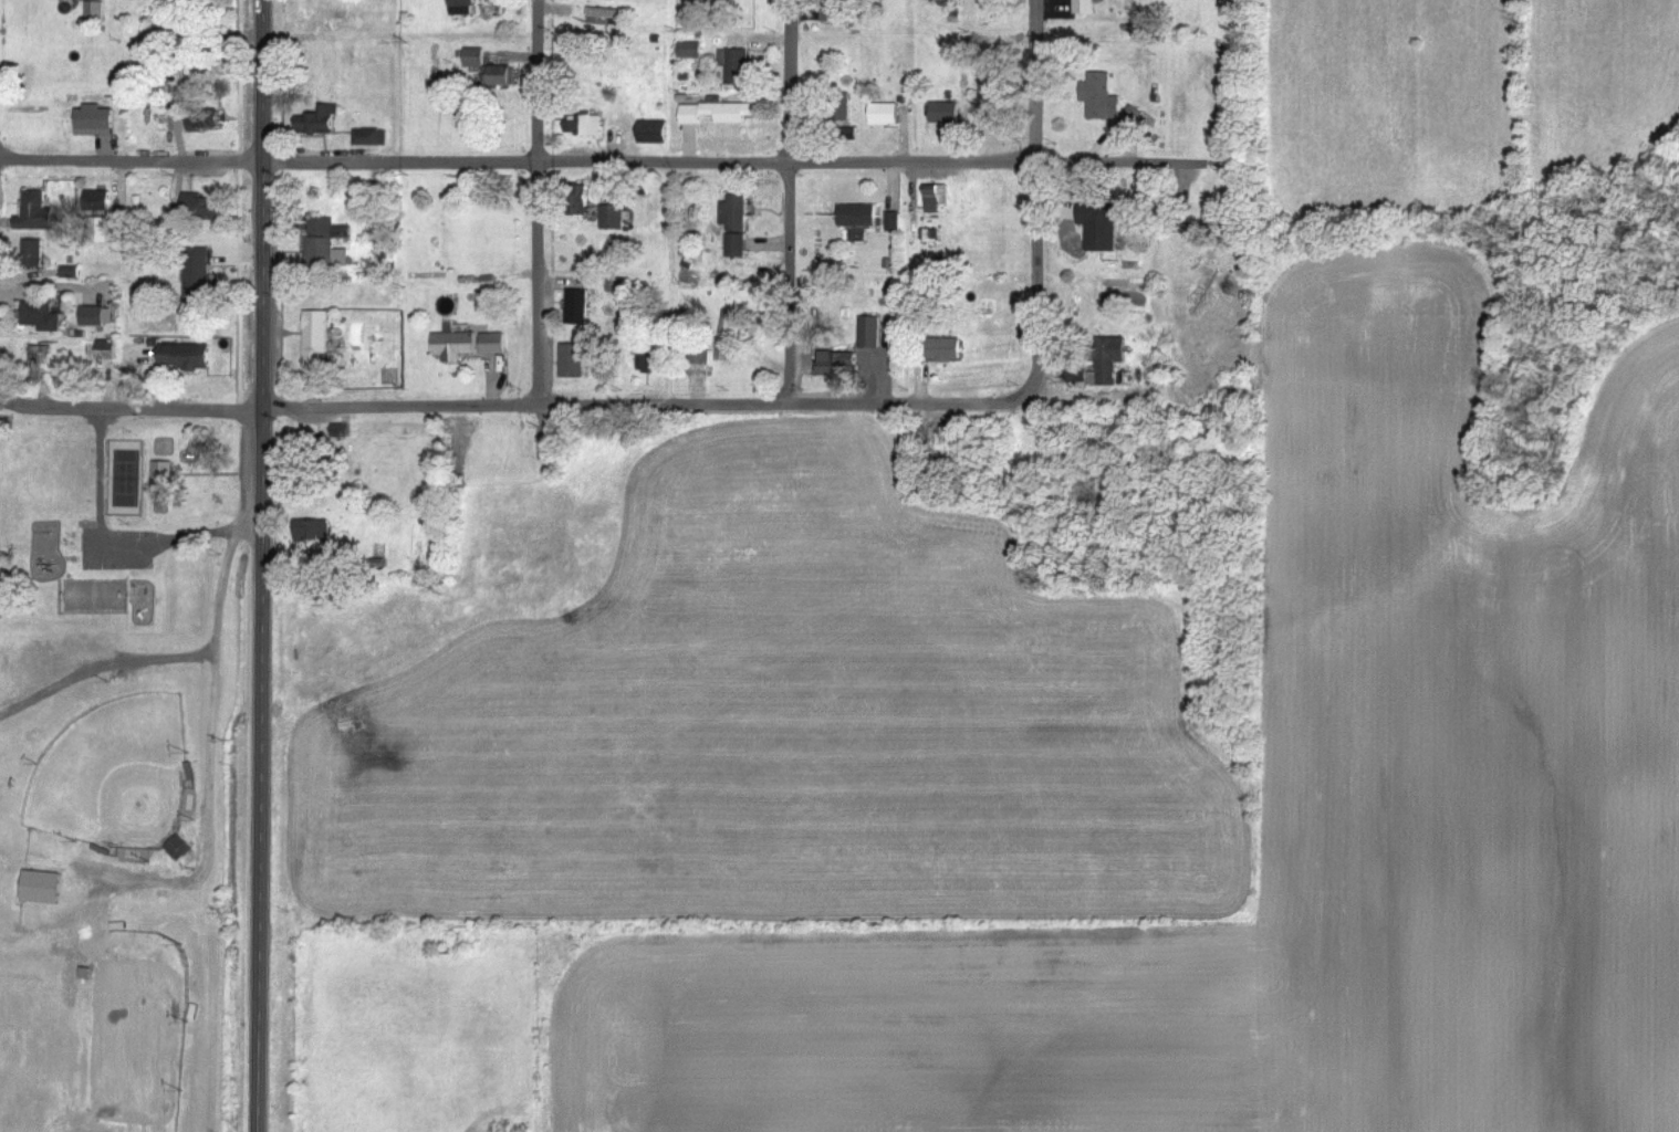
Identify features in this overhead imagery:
building: (463, 8)
building: (1085, 8)
building: (96, 9)
building: (839, 11)
building: (691, 51)
building: (476, 59)
building: (737, 66)
building: (500, 77)
building: (992, 98)
building: (1102, 98)
building: (946, 113)
building: (717, 114)
building: (886, 115)
building: (1135, 117)
building: (207, 120)
building: (95, 122)
building: (320, 122)
building: (586, 126)
building: (655, 133)
building: (372, 138)
road: (124, 158)
road: (768, 158)
road: (1034, 193)
building: (937, 199)
building: (583, 200)
road: (790, 200)
building: (98, 201)
road: (543, 201)
building: (204, 208)
building: (35, 213)
building: (859, 217)
building: (614, 218)
building: (895, 222)
building: (736, 226)
building: (1102, 227)
building: (100, 230)
building: (344, 232)
building: (322, 241)
building: (35, 254)
building: (199, 271)
building: (578, 307)
building: (41, 317)
building: (97, 317)
building: (872, 333)
building: (727, 337)
building: (317, 339)
building: (494, 344)
building: (455, 346)
building: (947, 350)
building: (107, 352)
building: (187, 357)
building: (702, 357)
building: (573, 361)
building: (1109, 361)
building: (35, 365)
building: (838, 365)
building: (1078, 377)
road: (709, 402)
road: (125, 411)
building: (341, 431)
building: (164, 478)
building: (315, 532)
road: (117, 535)
road: (253, 565)
road: (207, 767)
building: (179, 849)
building: (43, 889)
park: (95, 1026)

